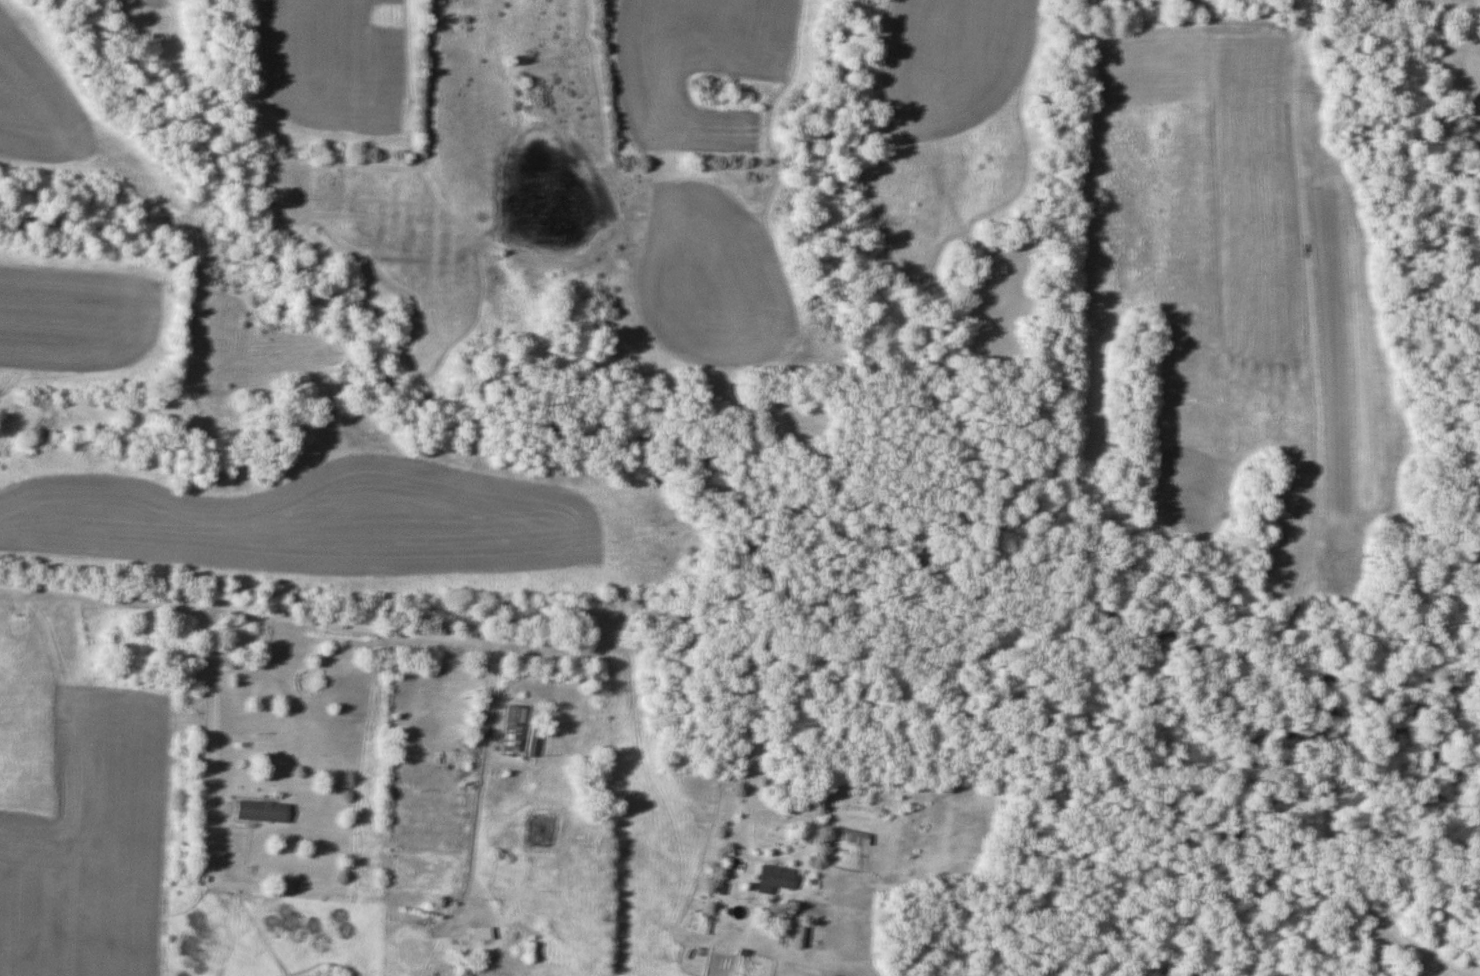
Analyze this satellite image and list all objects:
road: (204, 609)
road: (489, 642)
road: (208, 704)
building: (513, 731)
building: (532, 736)
building: (262, 812)
building: (850, 837)
building: (771, 877)
building: (482, 932)

